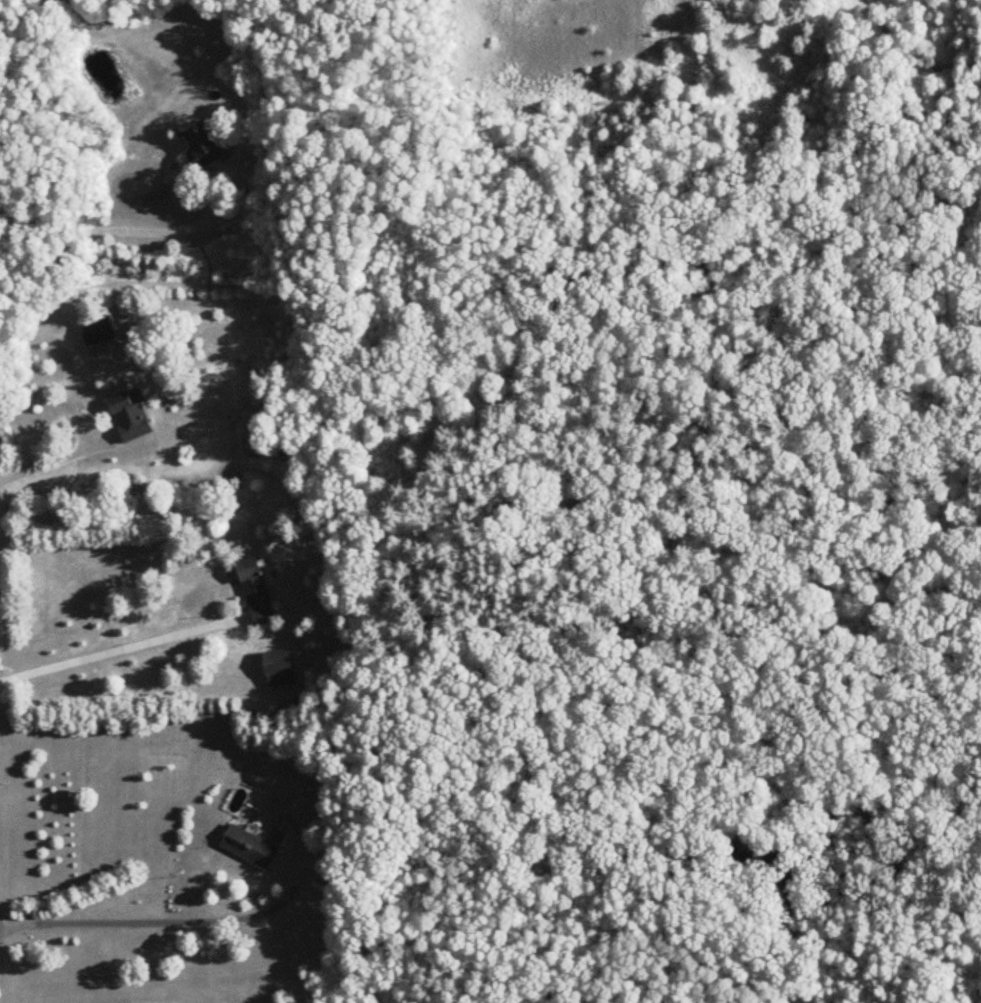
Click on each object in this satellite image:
building: (208, 145)
road: (116, 231)
building: (100, 332)
building: (131, 418)
road: (55, 459)
building: (258, 592)
road: (115, 651)
building: (281, 668)
building: (251, 847)
road: (159, 921)

